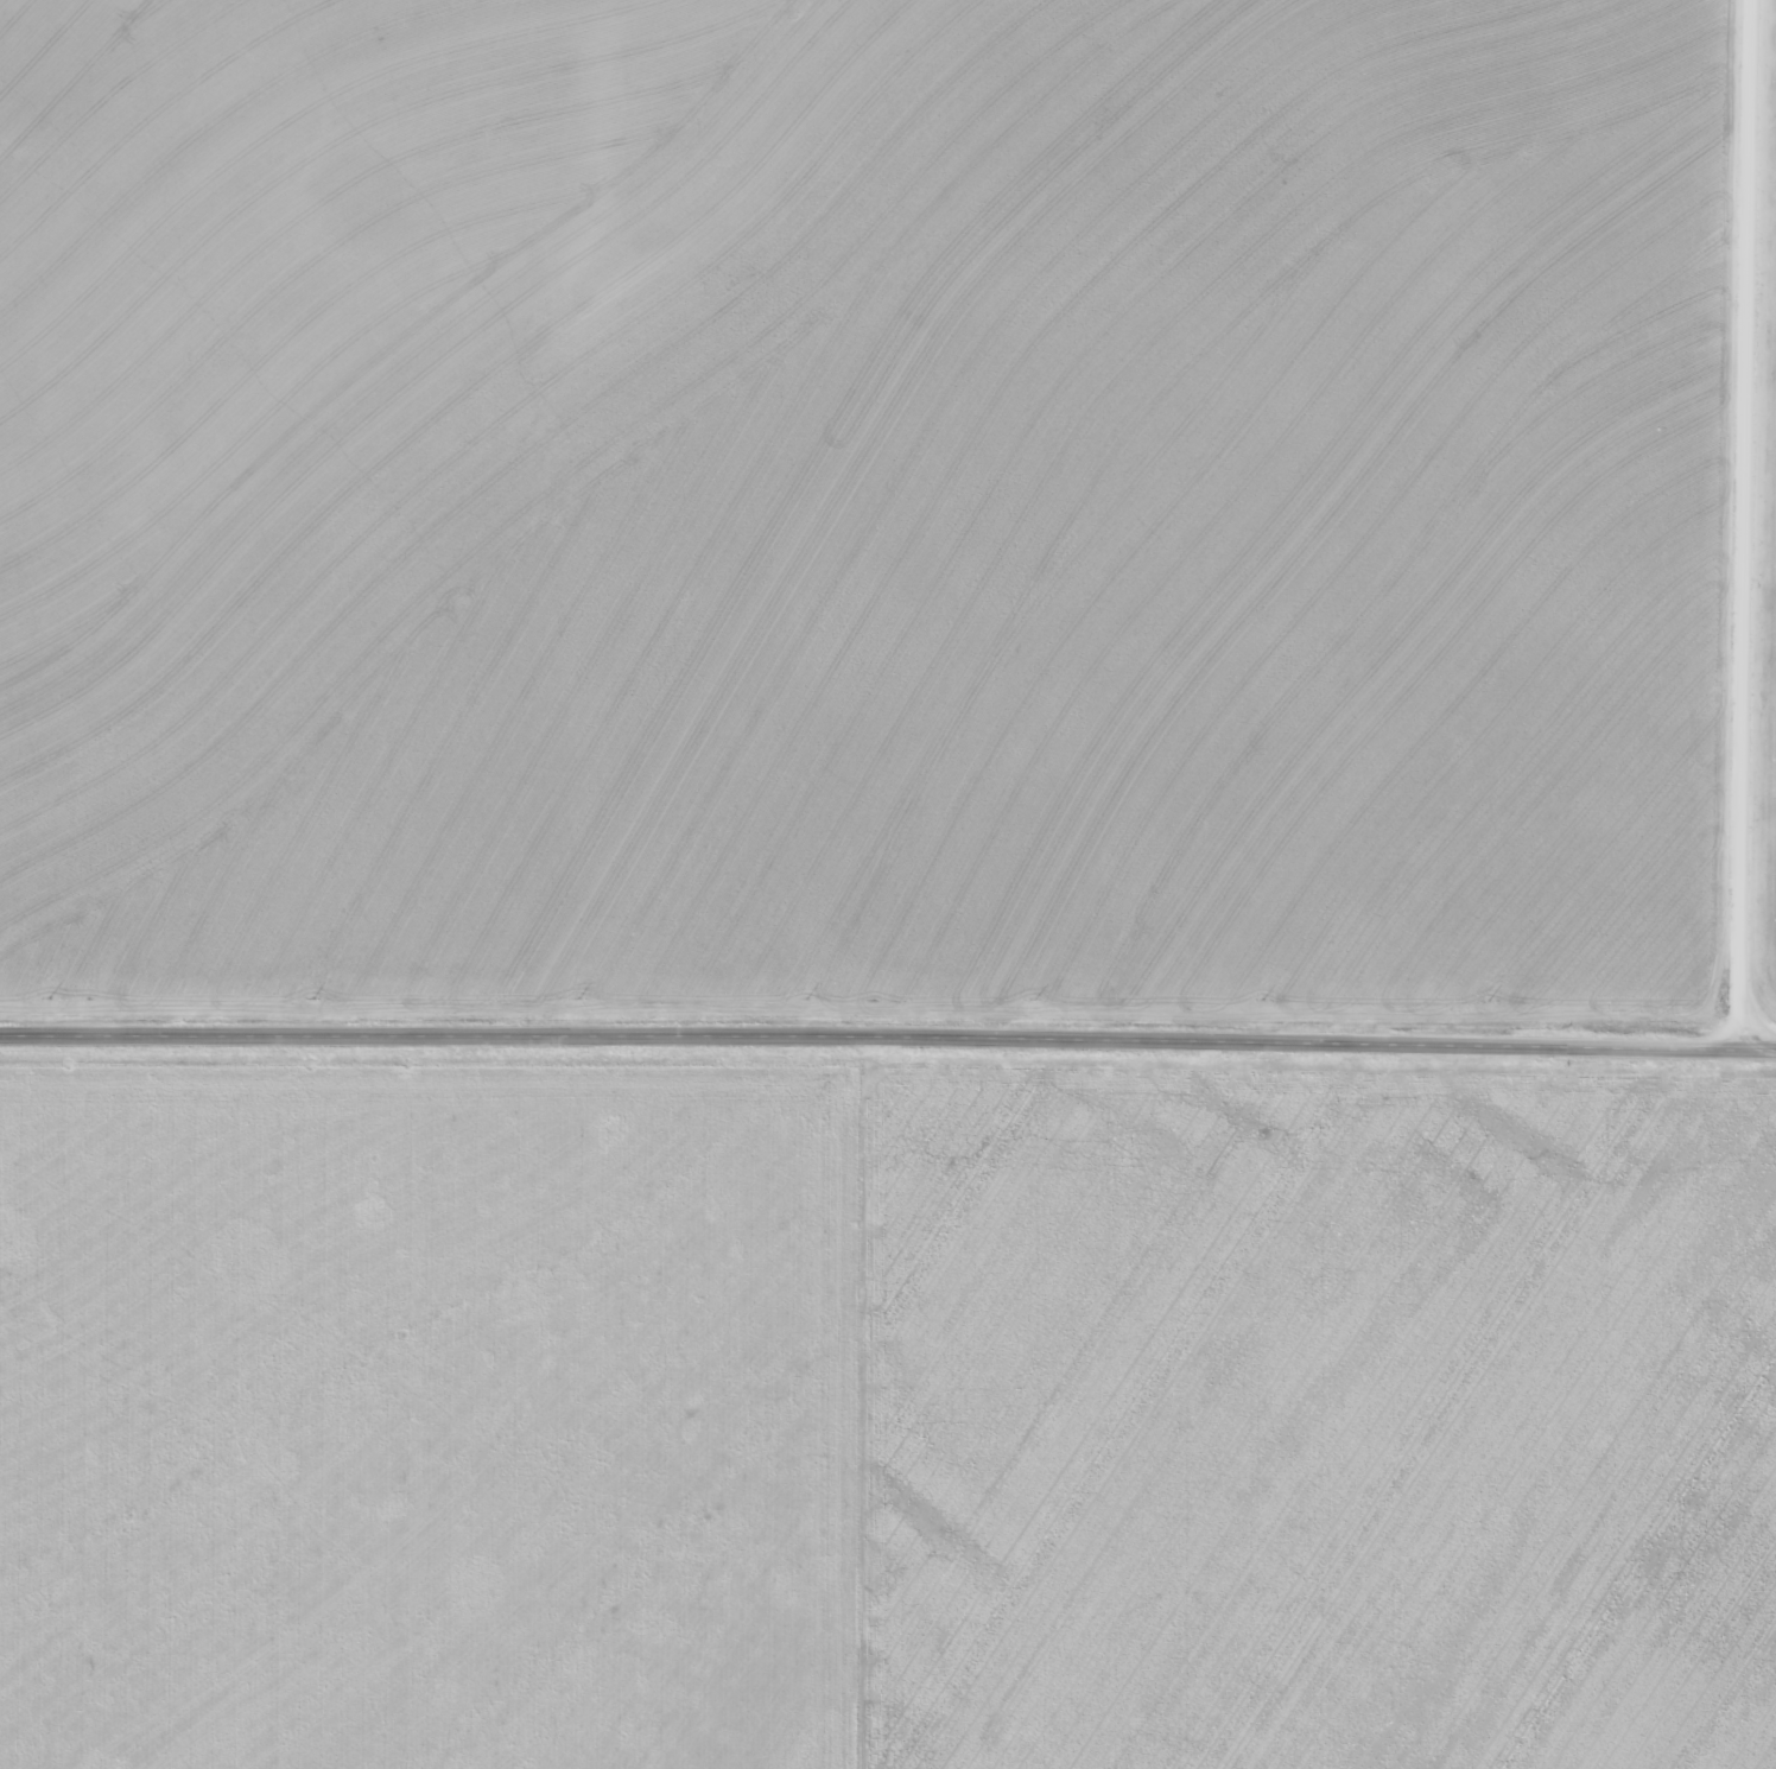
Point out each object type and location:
road: (1756, 623)
road: (888, 1039)

